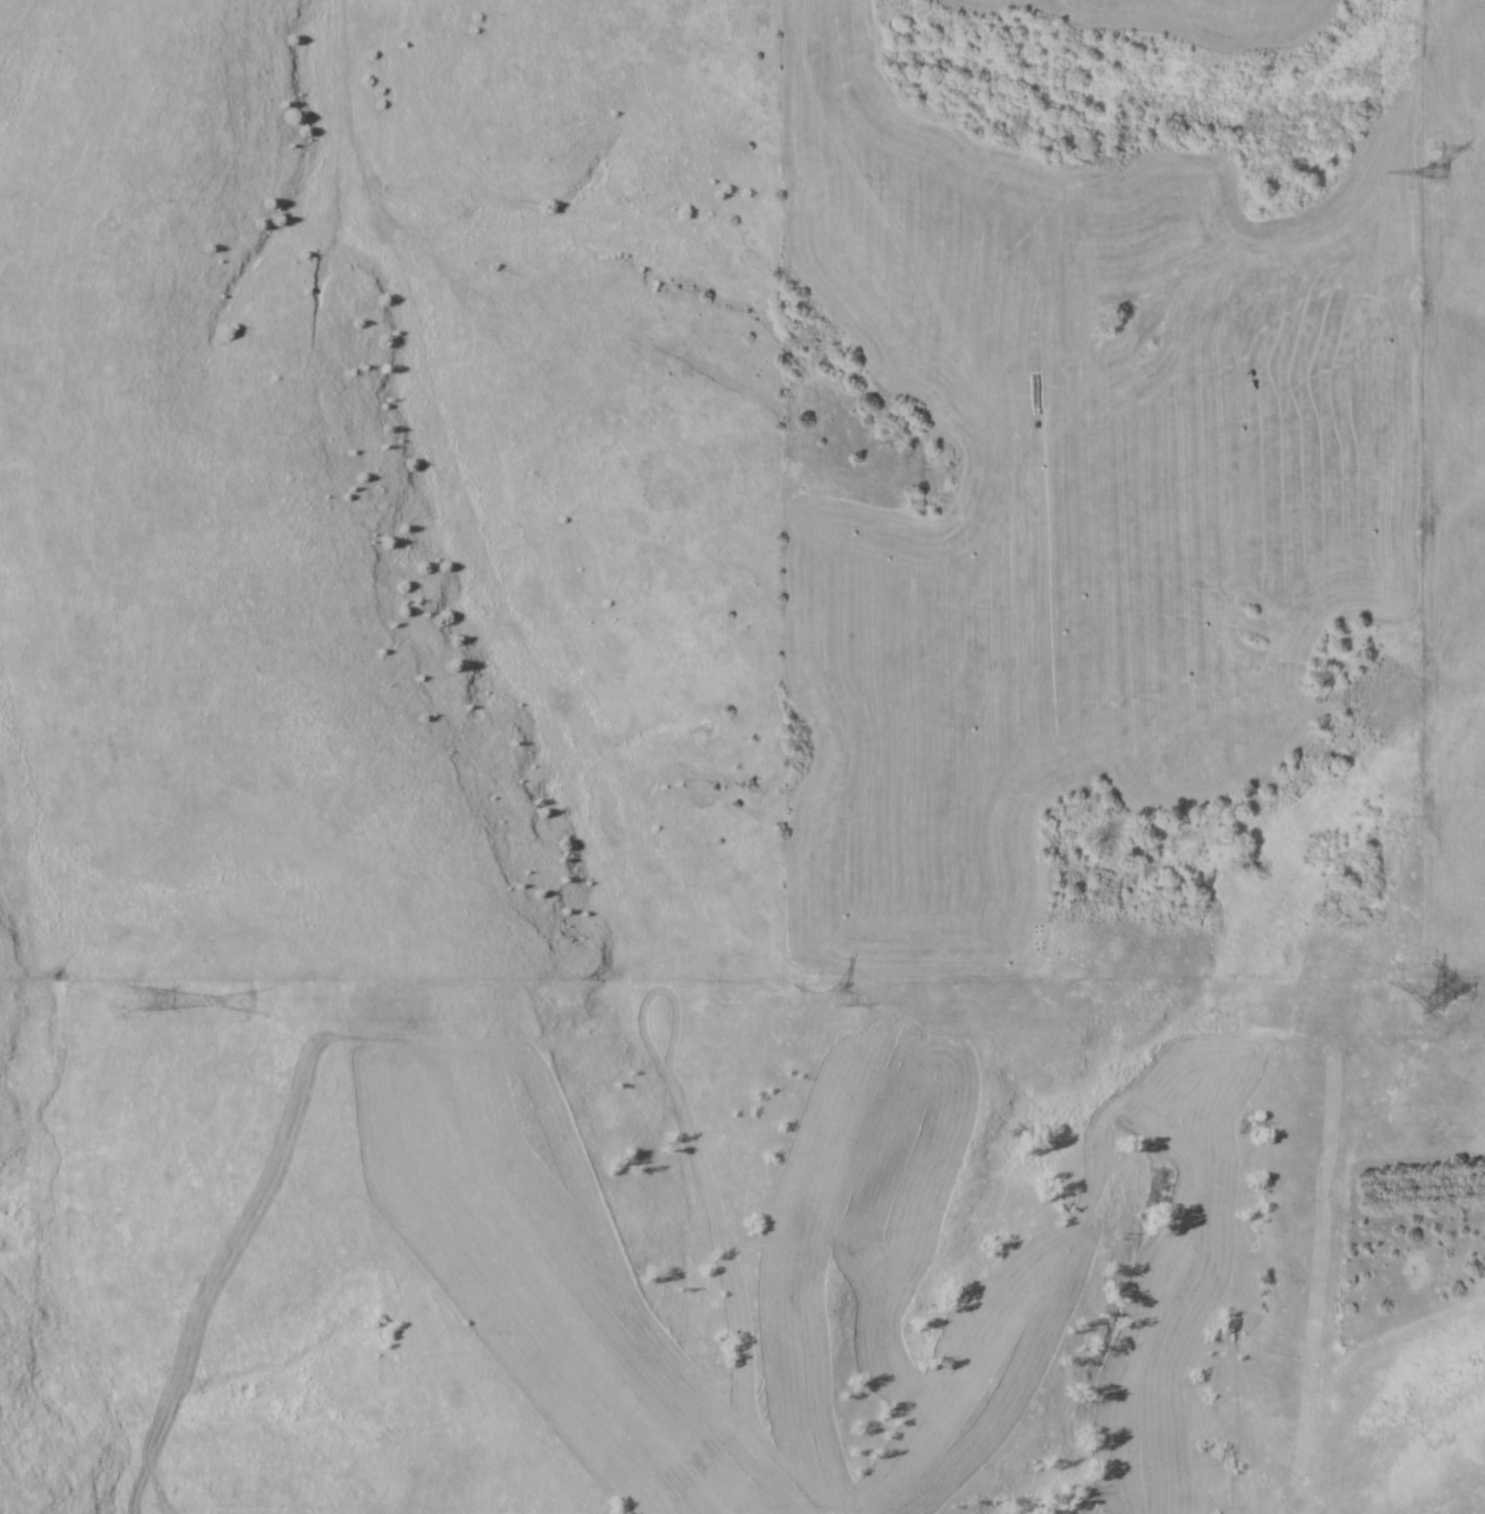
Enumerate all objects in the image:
power tower: (1437, 173)
power tower: (132, 998)
power tower: (828, 1000)
power tower: (1440, 1002)

